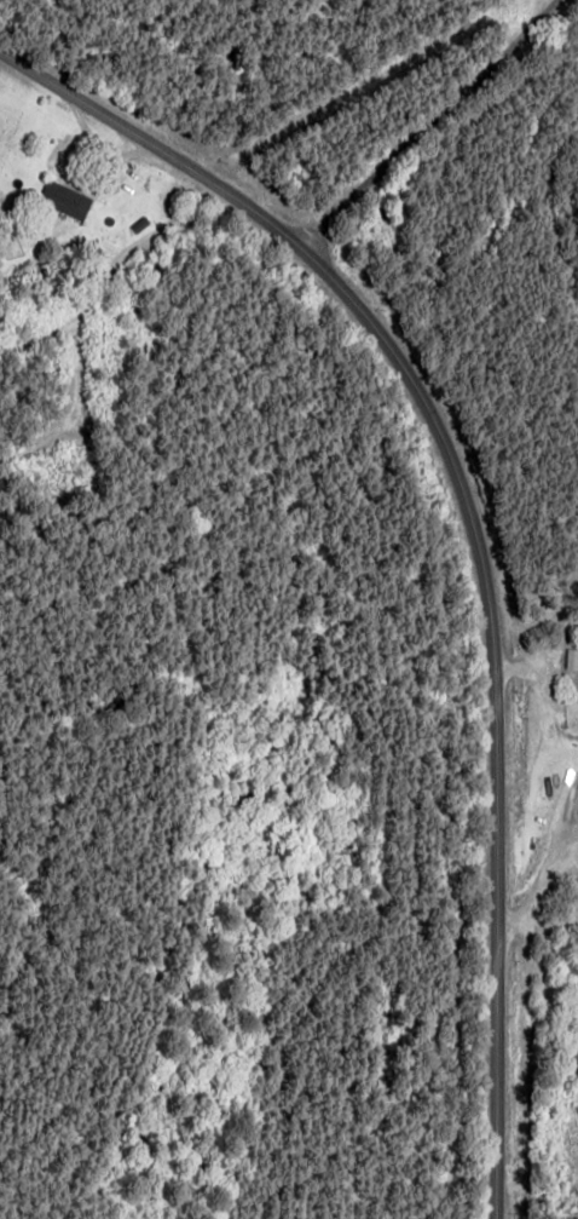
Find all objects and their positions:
road: (438, 138)
building: (64, 199)
road: (105, 311)
road: (433, 536)
building: (572, 659)

